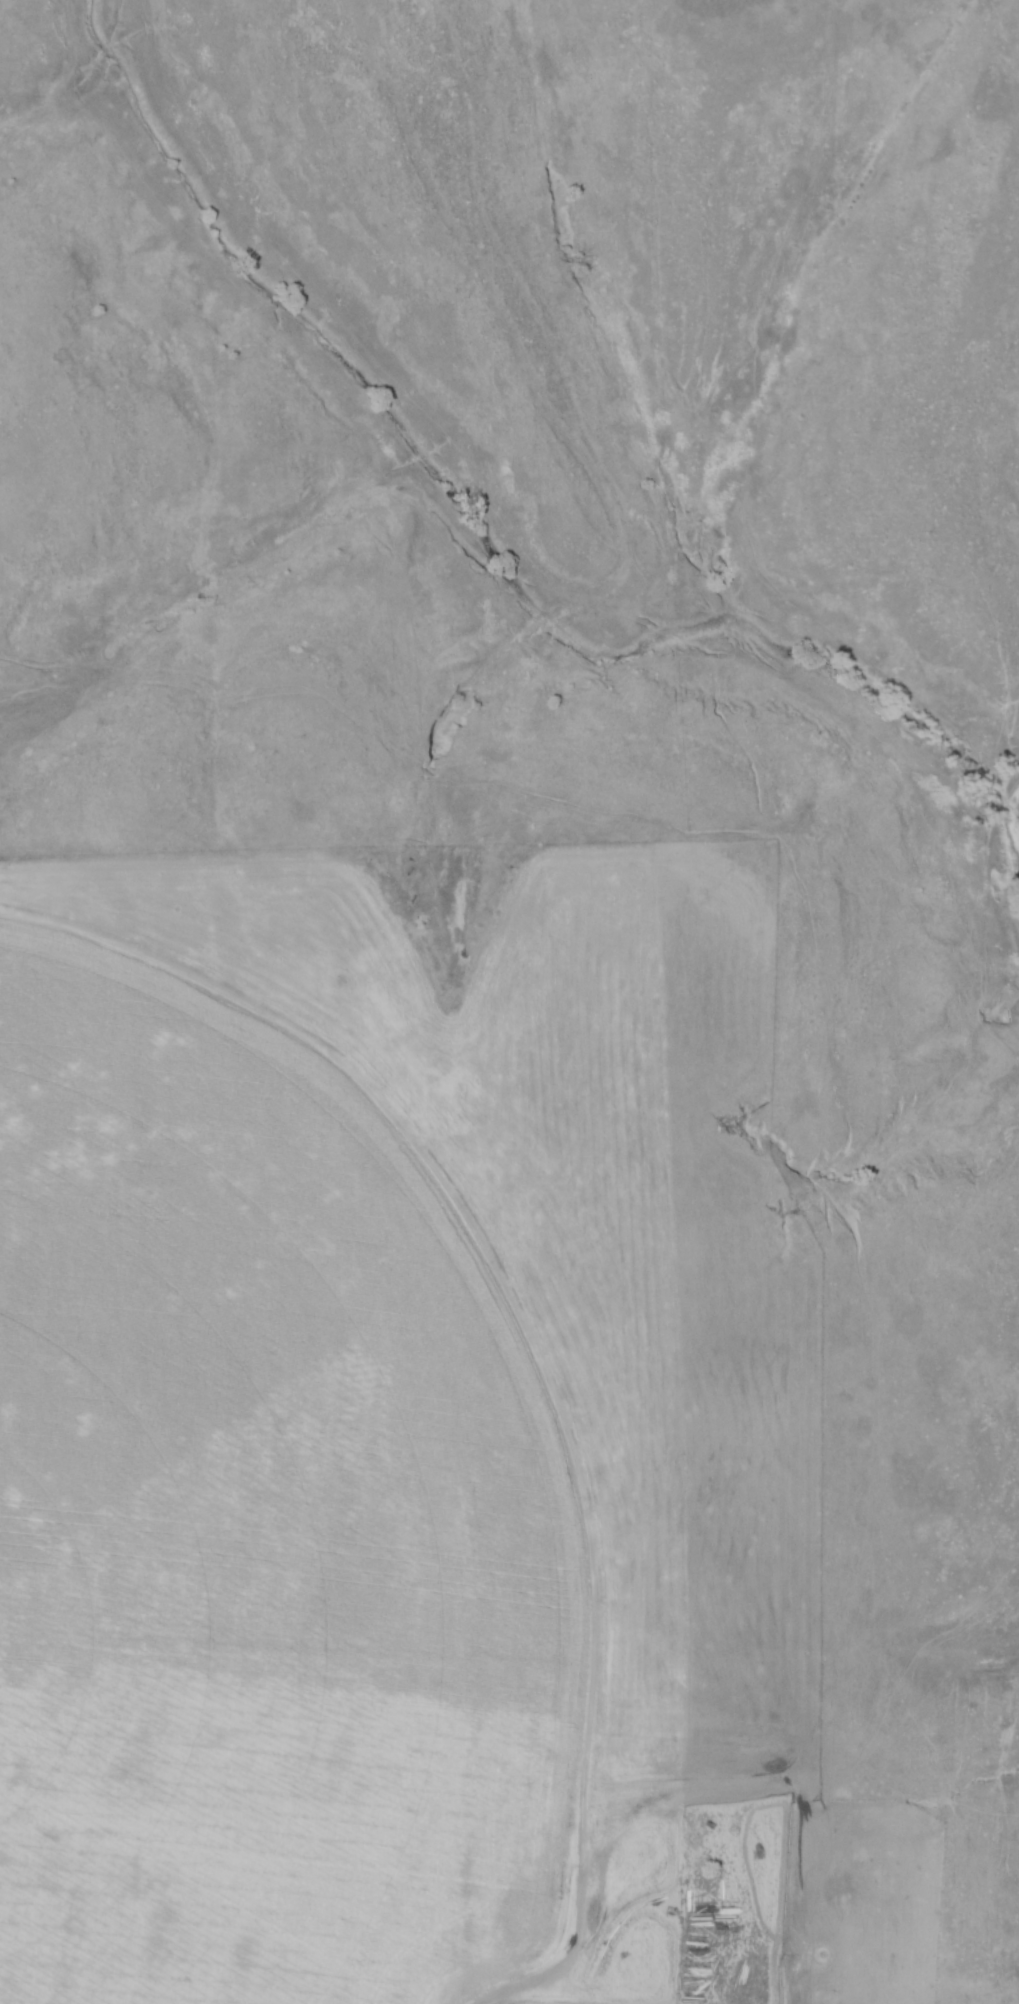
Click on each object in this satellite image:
building: (698, 1948)
building: (695, 1996)

